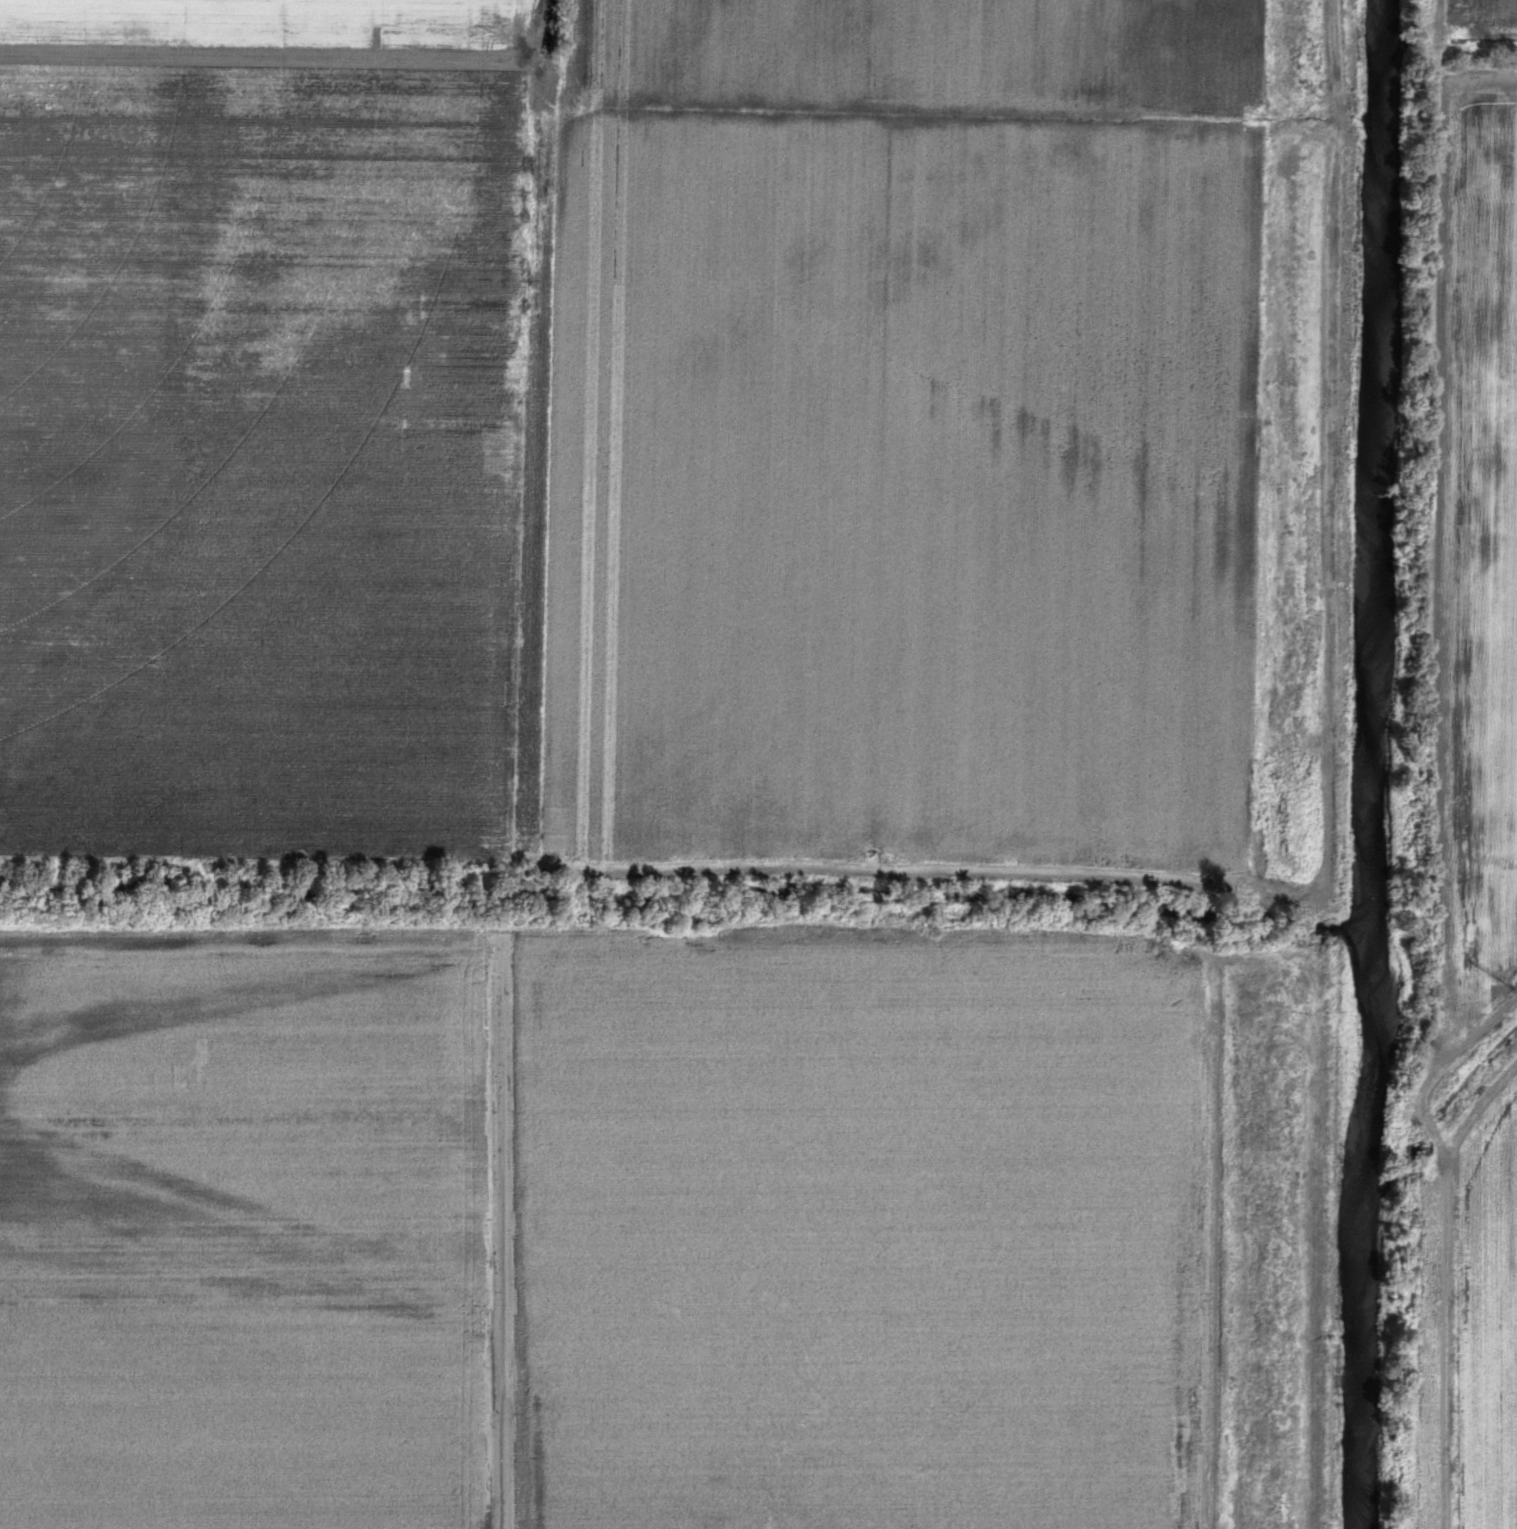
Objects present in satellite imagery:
river: (1372, 765)
road: (1437, 769)
road: (1420, 889)

